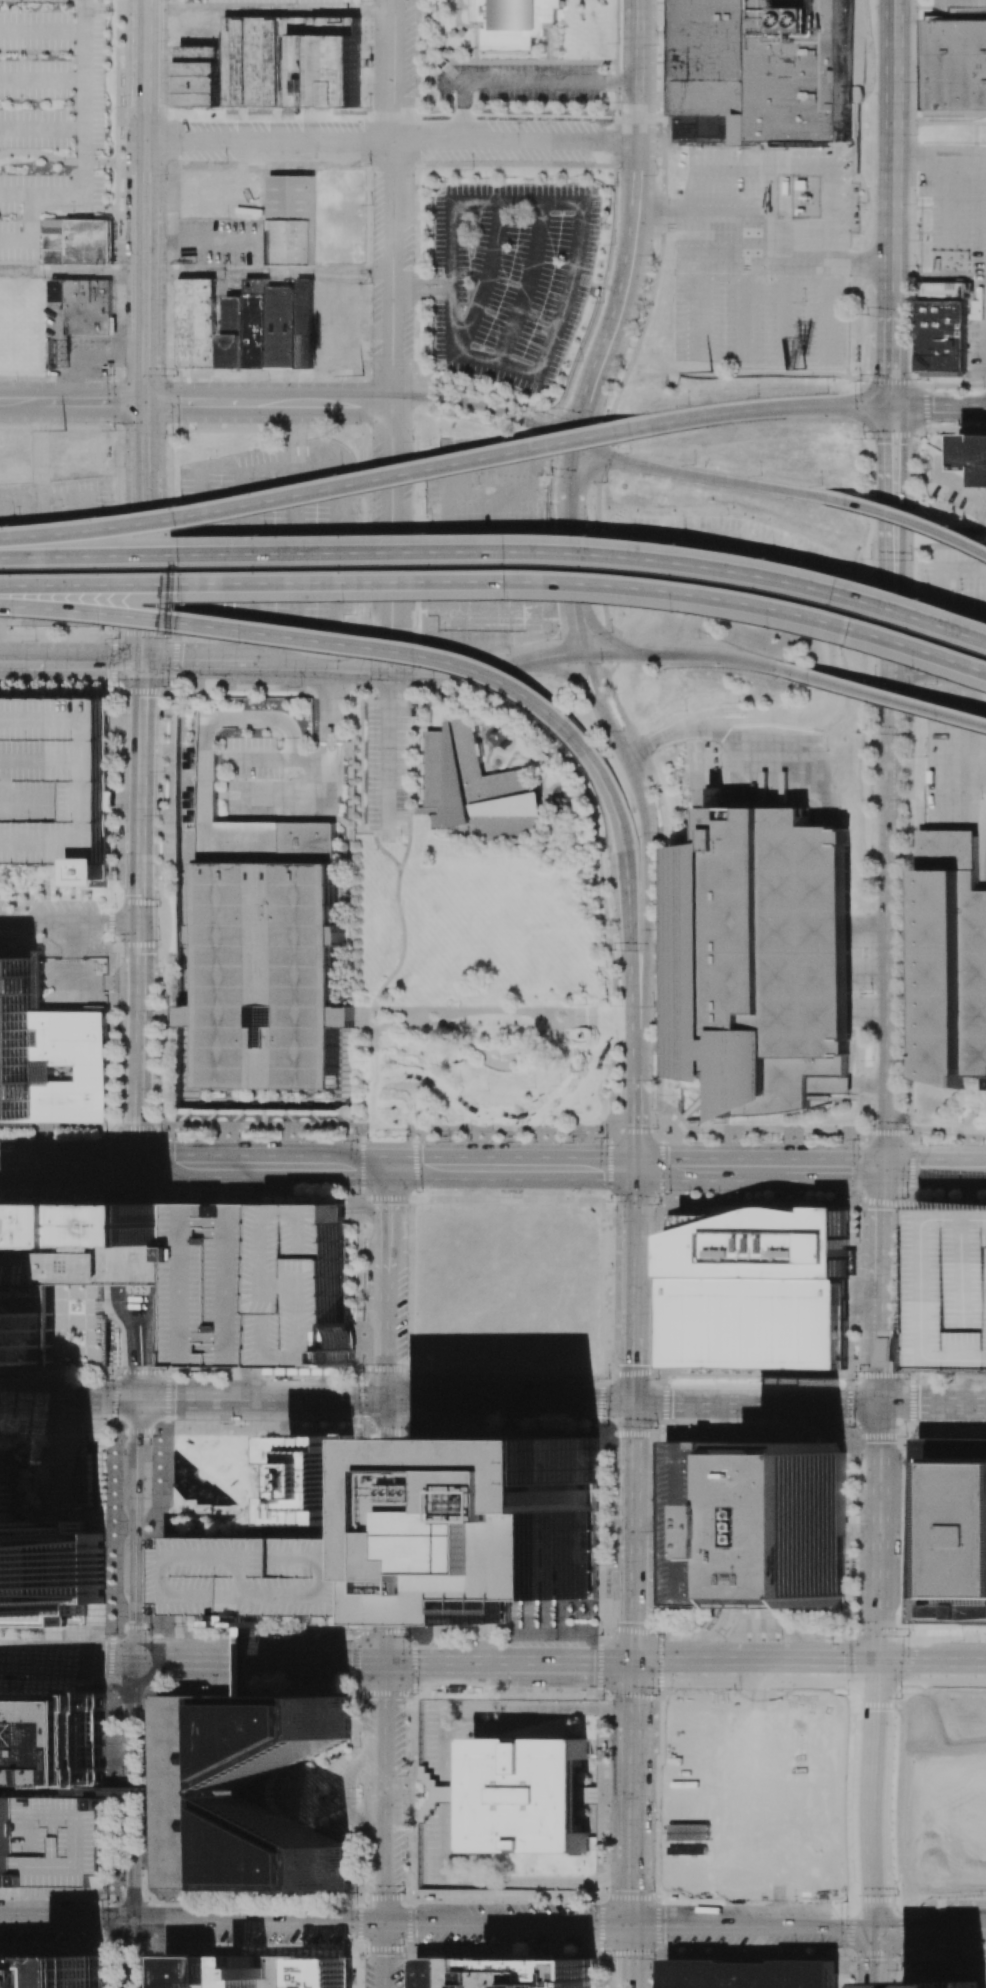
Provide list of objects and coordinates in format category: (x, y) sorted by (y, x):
road: (640, 0)
parking lot: (273, 1)
road: (893, 3)
road: (270, 10)
street lamp: (916, 20)
building: (514, 23)
road: (43, 32)
street lamp: (656, 41)
street lamp: (618, 42)
building: (270, 61)
building: (954, 64)
building: (768, 71)
road: (43, 80)
road: (529, 81)
road: (621, 81)
road: (452, 82)
parking lot: (525, 82)
street lamp: (915, 82)
street lamp: (617, 98)
road: (639, 106)
street lamp: (655, 111)
road: (462, 114)
parking lot: (49, 116)
road: (42, 130)
street lamp: (916, 135)
road: (393, 139)
road: (891, 155)
road: (62, 160)
road: (87, 163)
parking lot: (387, 163)
road: (146, 169)
street lamp: (654, 172)
street lamp: (616, 184)
road: (16, 195)
road: (146, 200)
street lamp: (915, 202)
road: (948, 215)
building: (291, 219)
road: (781, 219)
parking lot: (960, 232)
building: (76, 239)
street lamp: (613, 243)
street lamp: (651, 252)
parking lot: (764, 253)
street lamp: (916, 268)
road: (73, 270)
road: (269, 271)
parking lot: (509, 279)
road: (486, 280)
road: (421, 281)
road: (527, 286)
road: (421, 290)
street lamp: (602, 302)
building: (85, 305)
street lamp: (637, 318)
building: (245, 326)
road: (615, 330)
road: (392, 334)
building: (942, 335)
road: (548, 341)
road: (890, 356)
street lamp: (581, 360)
parking lot: (92, 364)
power tower: (711, 373)
street lamp: (113, 374)
street lamp: (175, 375)
traffic signals: (890, 375)
street lamp: (614, 377)
street lamp: (15, 379)
street lamp: (919, 379)
street lamp: (860, 381)
street lamp: (827, 391)
street lamp: (758, 395)
road: (20, 401)
road: (93, 402)
traffic signals: (145, 402)
road: (268, 403)
street lamp: (690, 403)
road: (489, 407)
traffic signals: (933, 407)
road: (938, 407)
traffic signals: (588, 408)
street lamp: (545, 409)
street lamp: (604, 419)
street lamp: (611, 422)
road: (59, 425)
power tower: (66, 429)
street lamp: (112, 430)
street lamp: (169, 430)
street lamp: (925, 436)
street lamp: (863, 439)
street lamp: (509, 442)
traffic signals: (882, 443)
traffic signals: (902, 443)
street lamp: (629, 452)
road: (144, 453)
building: (973, 457)
traffic signals: (623, 462)
street lamp: (694, 464)
road: (576, 465)
street lamp: (549, 473)
street lamp: (341, 475)
street lamp: (761, 475)
street lamp: (602, 477)
street lamp: (823, 486)
street lamp: (908, 492)
street lamp: (871, 493)
road: (40, 506)
street lamp: (177, 507)
street lamp: (101, 517)
street lamp: (552, 517)
street lamp: (585, 521)
street lamp: (11, 526)
street lamp: (954, 526)
road: (900, 531)
street lamp: (432, 534)
street lamp: (263, 536)
street lamp: (596, 536)
parking lot: (268, 540)
parking lot: (484, 540)
road: (144, 541)
road: (571, 543)
street lamp: (687, 545)
parking lot: (54, 553)
street lamp: (868, 557)
street lamp: (775, 559)
street lamp: (911, 559)
street lamp: (518, 600)
street lamp: (929, 600)
street lamp: (351, 601)
street lamp: (187, 602)
street lamp: (679, 610)
street lamp: (17, 617)
road: (144, 622)
street lamp: (103, 624)
street lamp: (775, 626)
road: (579, 628)
street lamp: (612, 632)
street lamp: (116, 636)
street lamp: (167, 637)
street lamp: (559, 638)
street lamp: (698, 638)
road: (606, 639)
street lamp: (34, 640)
street lamp: (244, 642)
street lamp: (507, 652)
road: (618, 655)
road: (696, 656)
road: (14, 664)
road: (85, 664)
street lamp: (601, 664)
traffic signals: (143, 665)
road: (198, 665)
street lamp: (419, 665)
road: (486, 665)
road: (321, 667)
road: (772, 667)
street lamp: (923, 667)
road: (937, 673)
road: (490, 675)
road: (566, 675)
street lamp: (873, 679)
street lamp: (115, 683)
street lamp: (427, 683)
street lamp: (167, 685)
street lamp: (299, 685)
street lamp: (810, 685)
street lamp: (907, 690)
road: (388, 696)
road: (895, 699)
road: (142, 719)
street lamp: (941, 720)
road: (968, 720)
street lamp: (546, 725)
street lamp: (622, 730)
road: (704, 730)
street lamp: (159, 764)
road: (387, 766)
road: (949, 767)
parking lot: (387, 768)
road: (977, 768)
building: (284, 781)
parking garage: (284, 781)
road: (888, 783)
building: (52, 784)
parking lot: (52, 784)
road: (605, 785)
building: (478, 787)
street lamp: (871, 800)
street lamp: (903, 800)
street lamp: (158, 813)
street lamp: (121, 820)
street lamp: (659, 832)
road: (650, 837)
building: (946, 837)
street lamp: (602, 849)
street lamp: (871, 860)
street lamp: (900, 861)
railway: (983, 866)
street lamp: (48, 898)
street lamp: (114, 906)
street lamp: (158, 906)
road: (140, 919)
street lamp: (611, 920)
road: (69, 922)
traffic signals: (140, 923)
street lamp: (655, 925)
street lamp: (900, 930)
road: (628, 936)
street lamp: (158, 939)
street lamp: (112, 941)
building: (759, 956)
building: (950, 965)
building: (263, 971)
street lamp: (867, 992)
park: (486, 995)
street lamp: (901, 995)
street lamp: (619, 1005)
street lamp: (654, 1006)
street lamp: (155, 1007)
building: (18, 1028)
road: (886, 1039)
building: (849, 1052)
road: (636, 1053)
street lamp: (868, 1060)
street lamp: (900, 1062)
building: (74, 1064)
street lamp: (620, 1078)
building: (972, 1078)
street lamp: (651, 1081)
building: (826, 1084)
building: (711, 1087)
street lamp: (155, 1089)
flagpole: (670, 1093)
road: (713, 1093)
building: (817, 1097)
road: (695, 1103)
road: (138, 1115)
road: (636, 1121)
street lamp: (655, 1127)
street lamp: (906, 1131)
street lamp: (160, 1133)
street lamp: (605, 1136)
street lamp: (856, 1138)
street lamp: (570, 1141)
street lamp: (736, 1141)
road: (20, 1165)
road: (89, 1165)
traffic signals: (138, 1165)
road: (263, 1166)
traffic signals: (389, 1167)
road: (512, 1167)
traffic signals: (637, 1168)
road: (685, 1168)
road: (808, 1169)
traffic signals: (884, 1170)
road: (935, 1170)
street lamp: (905, 1197)
street lamp: (857, 1201)
street lamp: (658, 1204)
road: (883, 1225)
building: (87, 1243)
building: (217, 1283)
parking lot: (217, 1283)
road: (387, 1283)
building: (301, 1284)
parking lot: (301, 1284)
road: (635, 1285)
building: (758, 1288)
building: (951, 1288)
parking lot: (951, 1288)
road: (123, 1301)
building: (26, 1337)
road: (881, 1342)
road: (134, 1350)
road: (148, 1351)
road: (206, 1371)
road: (981, 1385)
road: (68, 1398)
traffic signals: (137, 1399)
road: (261, 1400)
traffic signals: (387, 1401)
road: (510, 1402)
traffic signals: (635, 1403)
road: (757, 1403)
traffic signals: (881, 1404)
road: (897, 1404)
road: (949, 1404)
road: (881, 1420)
road: (634, 1462)
road: (282, 1467)
park: (213, 1478)
building: (325, 1480)
building: (706, 1519)
parking garage: (706, 1519)
building: (504, 1523)
road: (135, 1529)
building: (802, 1529)
building: (952, 1530)
road: (386, 1531)
road: (334, 1534)
road: (880, 1551)
building: (43, 1560)
building: (262, 1578)
parking lot: (262, 1578)
road: (634, 1593)
road: (66, 1660)
traffic signals: (134, 1661)
road: (259, 1662)
traffic signals: (386, 1663)
road: (490, 1663)
road: (614, 1664)
traffic signals: (634, 1665)
road: (756, 1665)
traffic signals: (880, 1666)
road: (933, 1666)
road: (860, 1699)
building: (51, 1744)
road: (384, 1792)
road: (896, 1792)
road: (351, 1794)
road: (632, 1794)
park: (754, 1794)
road: (4, 1795)
building: (242, 1795)
parking lot: (443, 1795)
building: (530, 1795)
park: (944, 1795)
road: (859, 1800)
road: (291, 1817)
road: (134, 1824)
road: (878, 1827)
building: (59, 1843)
parking lot: (59, 1843)
building: (4, 1848)
road: (896, 1893)
road: (491, 1897)
road: (876, 1899)
traffic signals: (134, 1921)
road: (191, 1922)
traffic signals: (384, 1923)
road: (507, 1923)
traffic signals: (632, 1924)
road: (738, 1925)
traffic signals: (877, 1926)
road: (881, 1926)
road: (952, 1926)
road: (383, 1955)
road: (631, 1956)
building: (51, 1971)
building: (234, 1971)
building: (326, 1972)
building: (505, 1973)
building: (751, 1973)
building: (947, 1984)

